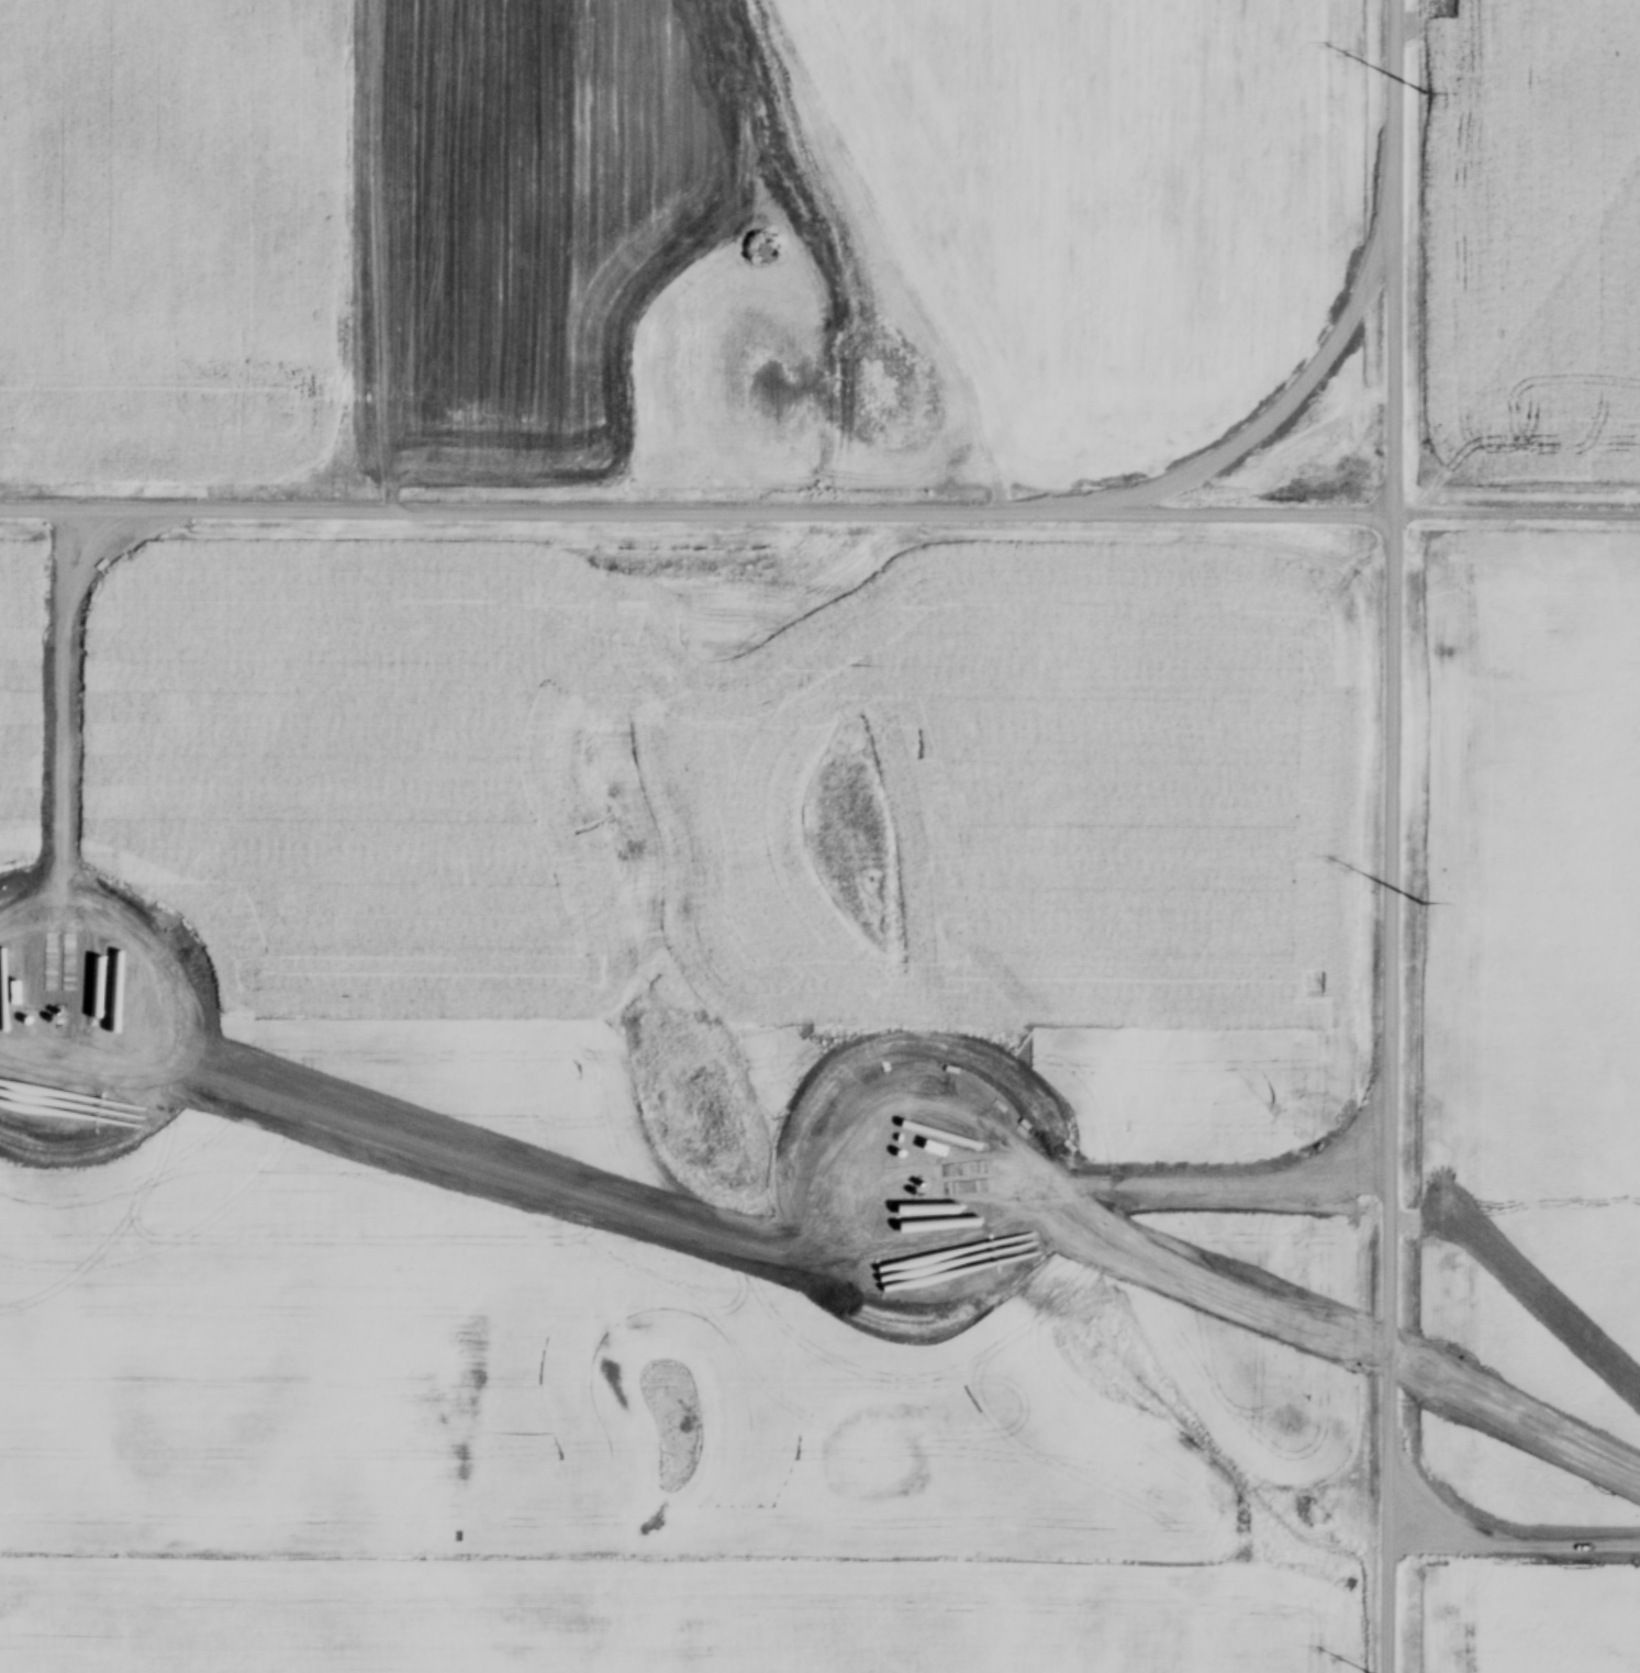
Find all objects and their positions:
power tower: (1427, 96)
river: (818, 352)
road: (1517, 505)
road: (698, 509)
road: (1391, 836)
power tower: (1426, 905)
wind turbine: (52, 1012)
wind turbine: (924, 1186)

